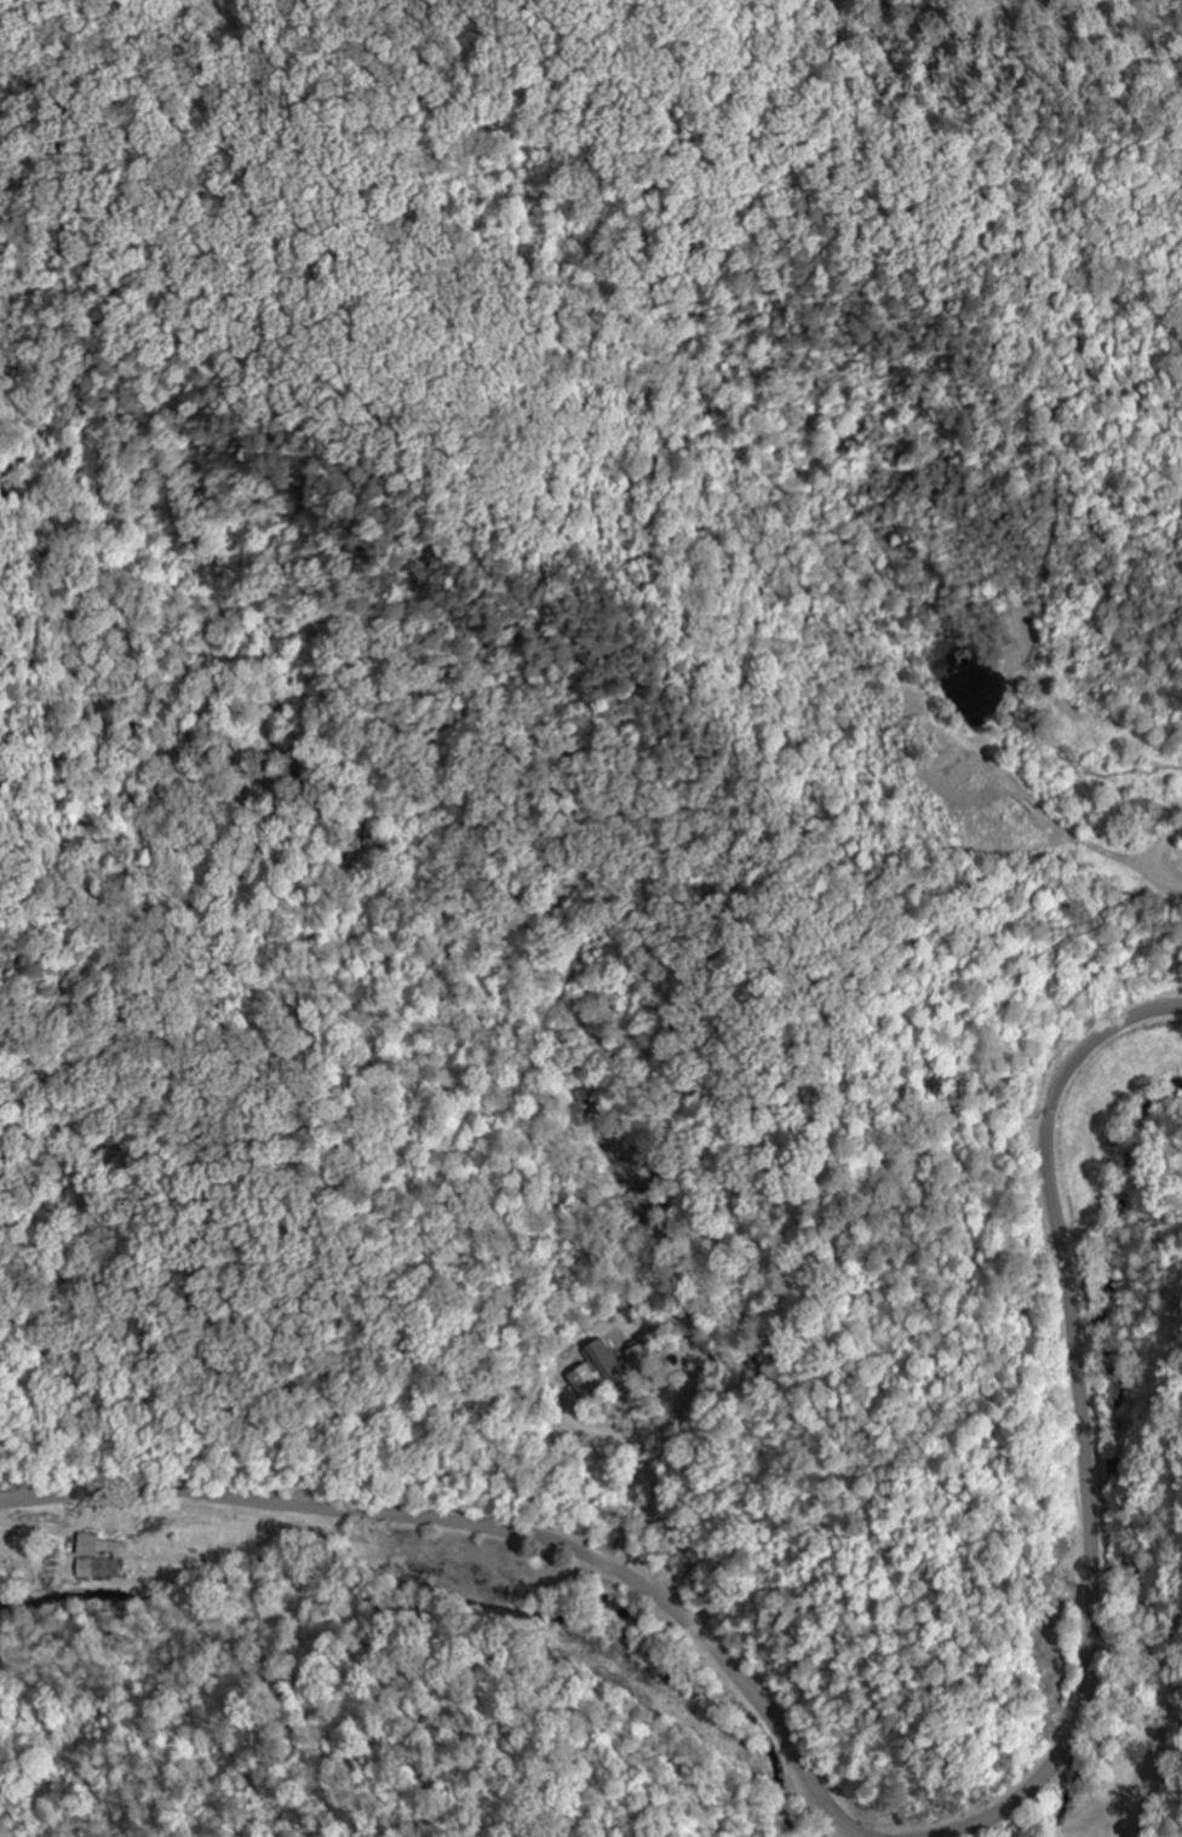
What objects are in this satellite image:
building: (641, 1356)
building: (596, 1370)
road: (1080, 1424)
road: (494, 1529)

